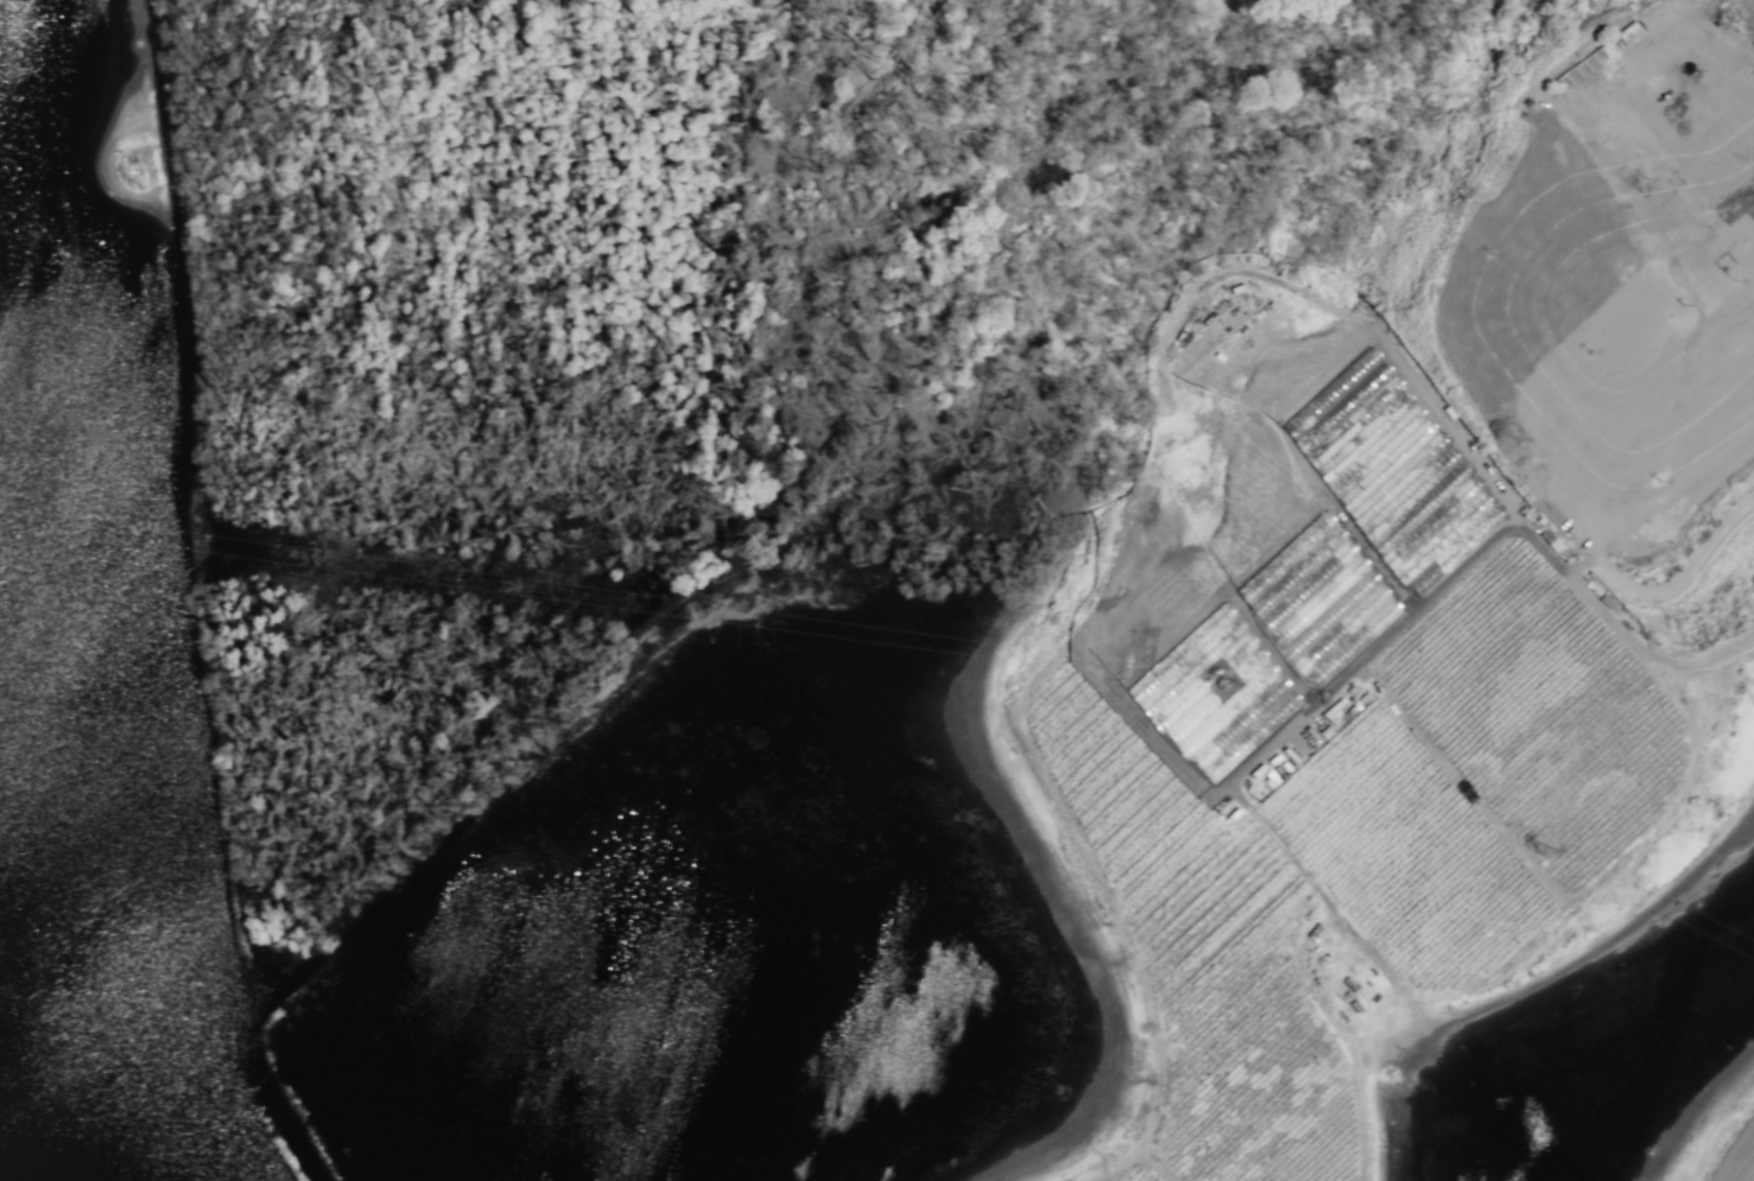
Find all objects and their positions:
crop: (1268, 39)
building: (1433, 526)
power tower: (504, 585)
building: (1318, 599)
crop: (834, 637)
power tower: (1227, 685)
building: (1214, 694)
power tower: (1544, 850)

